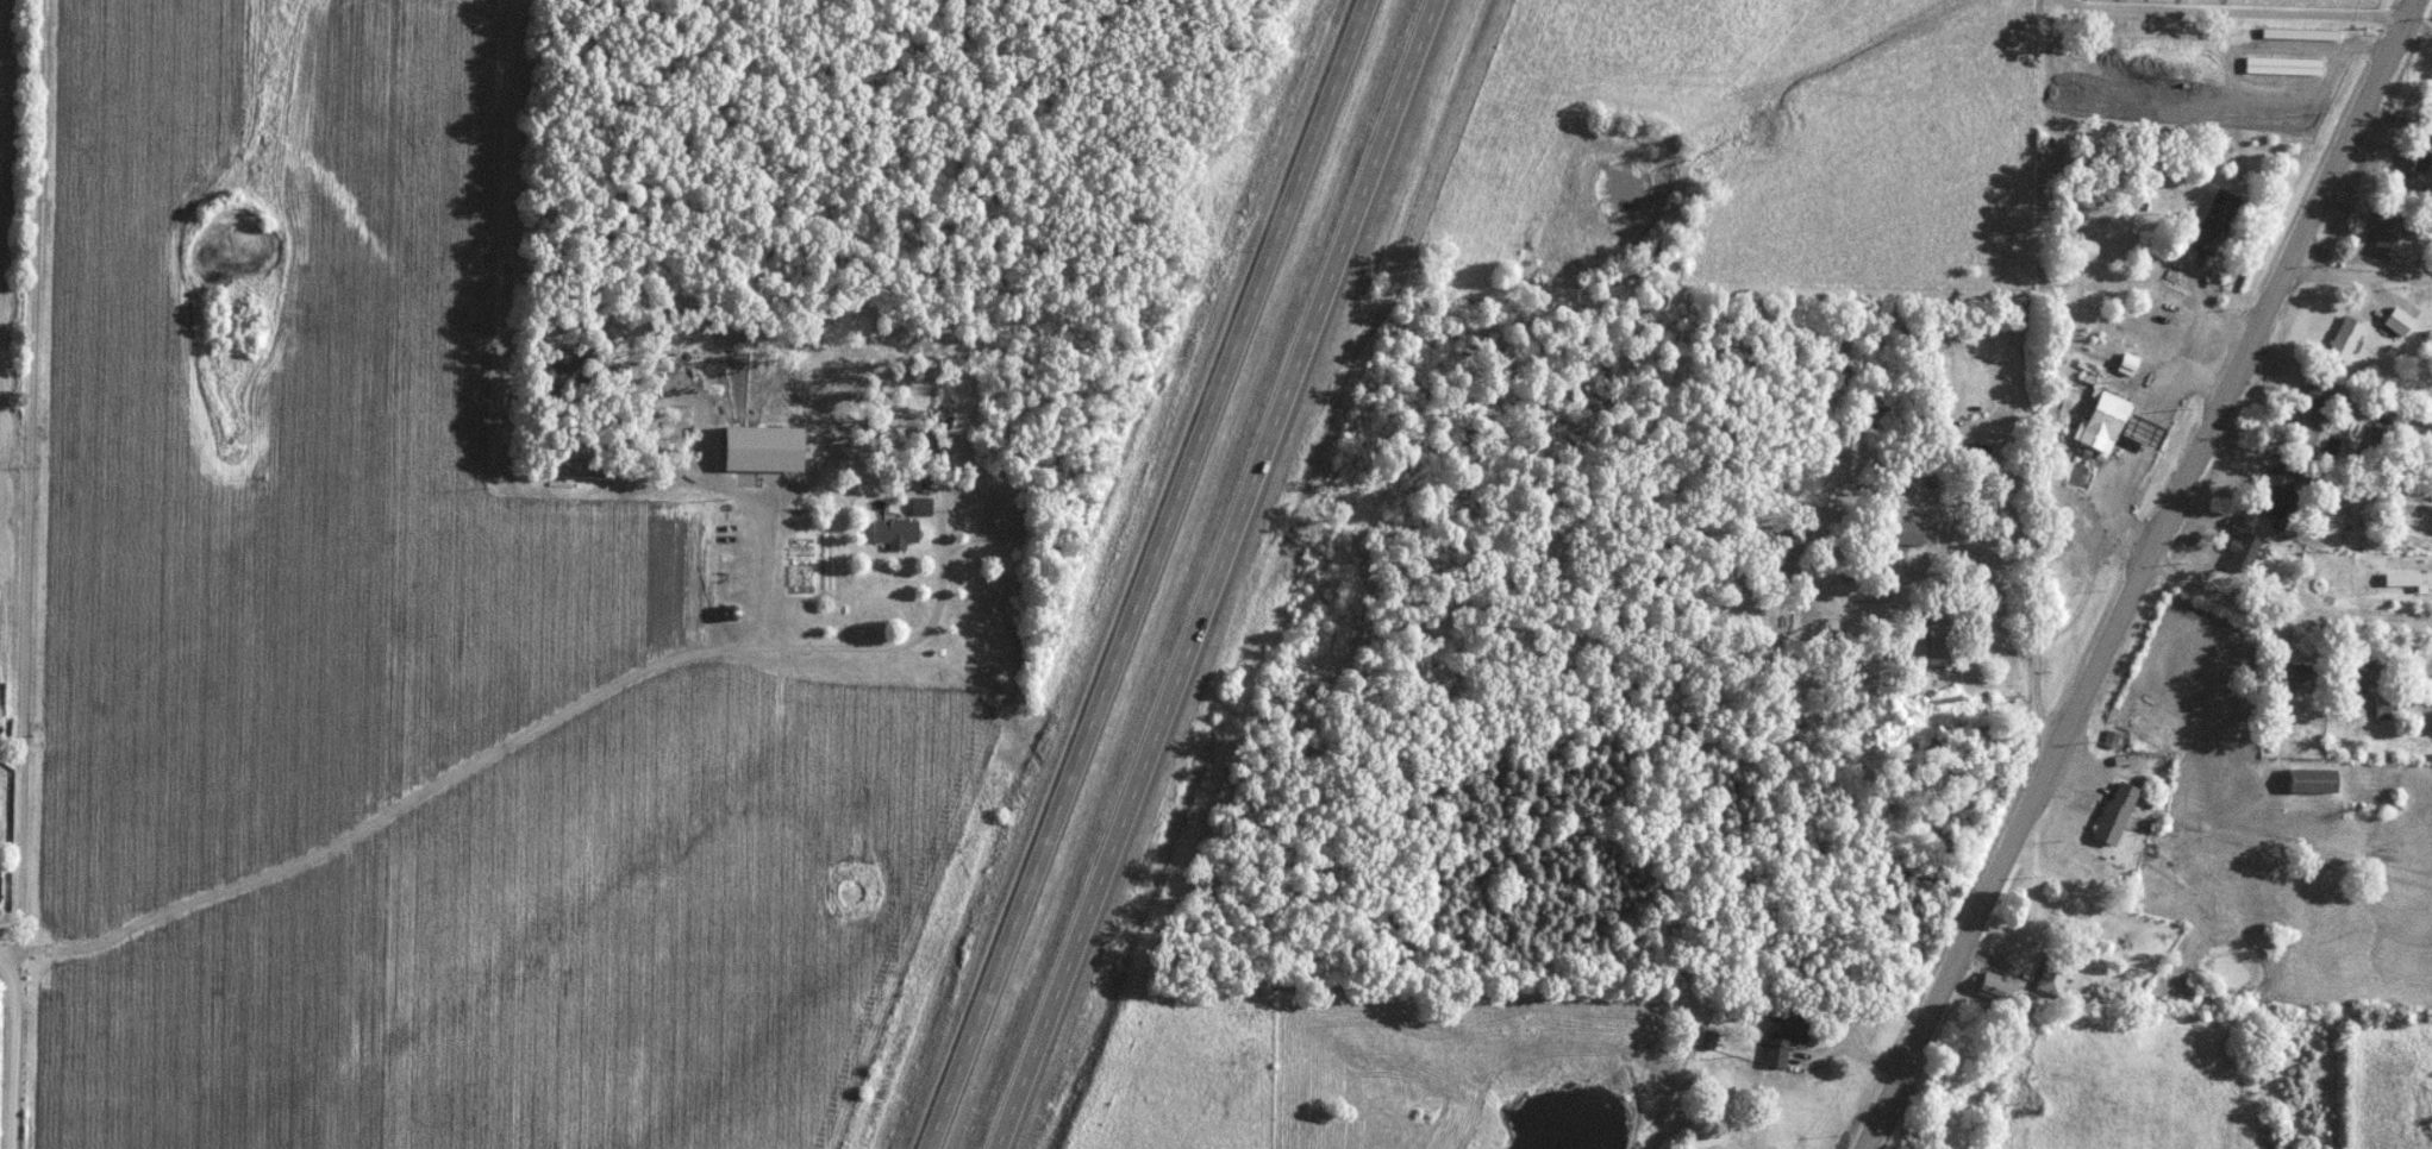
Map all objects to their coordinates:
road: (2242, 15)
building: (2302, 33)
building: (2286, 65)
building: (2425, 159)
building: (2218, 221)
building: (2399, 238)
building: (2090, 249)
road: (2361, 280)
building: (2097, 297)
building: (2170, 318)
building: (2401, 320)
building: (2347, 338)
building: (2108, 420)
building: (2317, 432)
building: (2381, 440)
building: (1976, 452)
road: (31, 477)
building: (2282, 496)
road: (2038, 520)
building: (898, 533)
building: (1911, 533)
road: (2106, 546)
building: (2246, 551)
road: (2146, 573)
road: (1149, 574)
road: (1218, 574)
building: (2409, 578)
road: (2257, 617)
building: (1945, 636)
building: (2301, 674)
building: (2372, 674)
building: (2384, 707)
road: (508, 741)
building: (2319, 779)
building: (2120, 812)
road: (2237, 839)
building: (1, 889)
road: (7, 954)
building: (2058, 978)
building: (1787, 1042)
road: (12, 1051)
road: (1876, 1059)

